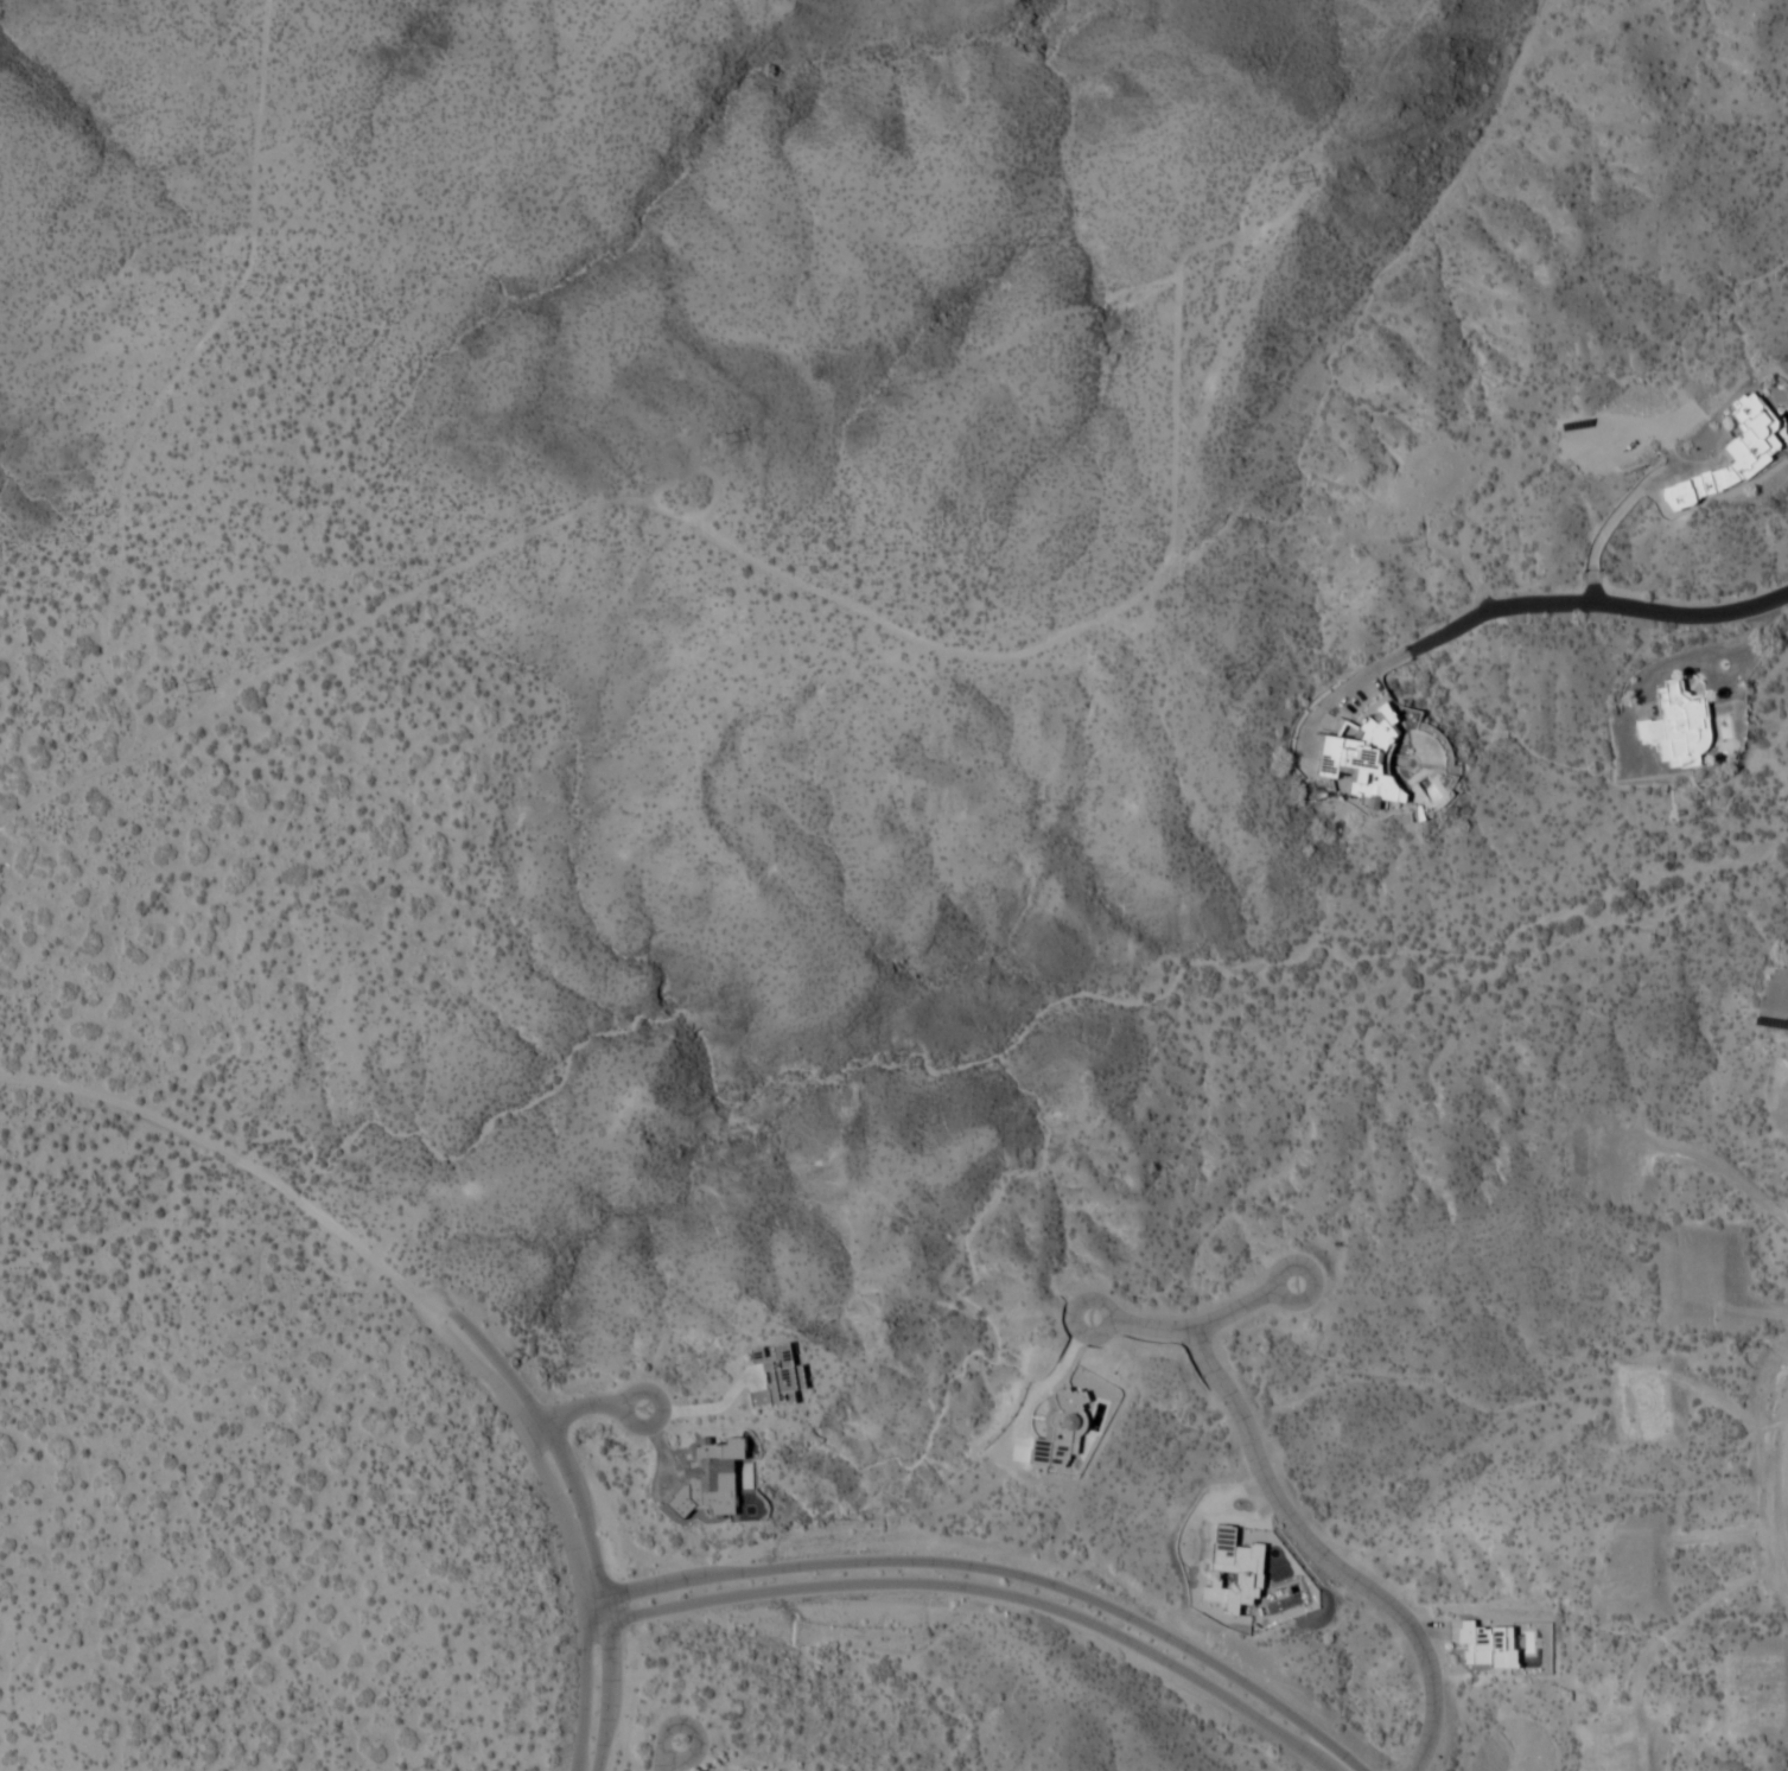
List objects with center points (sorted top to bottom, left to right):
power tower: (1285, 180)
power tower: (724, 434)
building: (1729, 453)
road: (1636, 609)
road: (910, 673)
power tower: (187, 688)
building: (1676, 726)
building: (1363, 756)
road: (233, 1162)
road: (1201, 1330)
road: (579, 1408)
road: (699, 1408)
road: (579, 1514)
road: (562, 1521)
road: (1325, 1557)
building: (1232, 1571)
road: (998, 1573)
road: (979, 1591)
road: (672, 1756)

